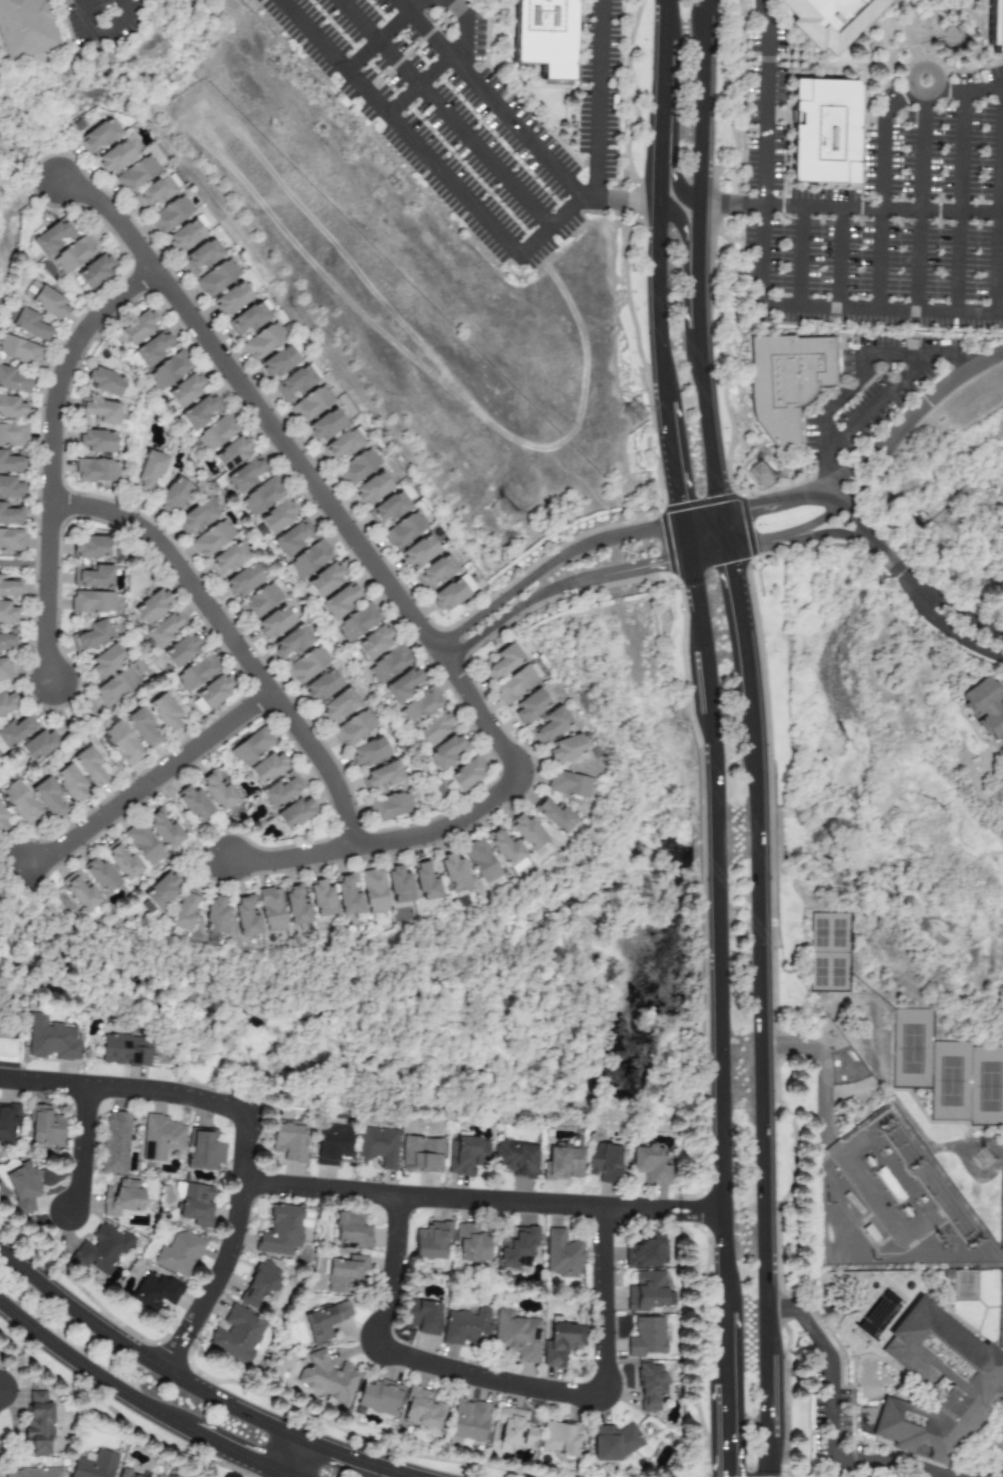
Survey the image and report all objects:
road: (658, 19)
building: (835, 19)
building: (25, 26)
building: (999, 27)
road: (105, 32)
road: (385, 35)
building: (541, 35)
road: (417, 46)
road: (444, 62)
road: (916, 62)
road: (656, 82)
road: (518, 87)
road: (971, 88)
road: (559, 89)
road: (490, 99)
road: (599, 99)
road: (520, 100)
road: (447, 113)
building: (829, 130)
building: (99, 135)
road: (879, 145)
road: (960, 150)
building: (115, 157)
road: (429, 160)
road: (676, 169)
building: (136, 174)
building: (154, 192)
road: (996, 199)
road: (615, 201)
road: (917, 205)
road: (823, 208)
road: (948, 211)
road: (980, 211)
building: (170, 214)
road: (113, 228)
building: (187, 233)
building: (52, 237)
road: (679, 239)
building: (74, 255)
building: (201, 257)
road: (799, 257)
road: (699, 258)
road: (841, 258)
road: (884, 259)
road: (954, 260)
road: (654, 264)
building: (94, 272)
road: (757, 275)
building: (217, 278)
building: (31, 290)
building: (231, 299)
building: (49, 303)
building: (250, 318)
building: (30, 325)
building: (138, 328)
building: (263, 341)
building: (152, 348)
building: (19, 351)
building: (278, 362)
building: (169, 370)
road: (70, 371)
road: (858, 378)
building: (13, 381)
building: (104, 381)
building: (296, 382)
building: (793, 387)
building: (185, 390)
building: (310, 404)
road: (877, 404)
building: (12, 408)
building: (101, 411)
building: (201, 411)
power tower: (638, 415)
road: (911, 417)
building: (326, 425)
building: (216, 433)
building: (12, 435)
building: (97, 441)
building: (342, 444)
building: (232, 453)
building: (10, 463)
road: (671, 465)
building: (357, 467)
building: (96, 470)
building: (149, 471)
building: (245, 475)
power tower: (764, 475)
building: (10, 488)
building: (372, 488)
building: (173, 496)
building: (262, 496)
traffic signals: (677, 497)
road: (777, 501)
traffic signals: (757, 507)
building: (387, 509)
building: (11, 515)
power tower: (506, 515)
building: (196, 517)
building: (279, 517)
road: (818, 520)
road: (702, 521)
building: (404, 531)
road: (723, 533)
road: (801, 535)
building: (294, 537)
road: (868, 537)
building: (11, 539)
building: (212, 539)
road: (687, 542)
building: (90, 547)
building: (419, 551)
road: (708, 554)
building: (227, 559)
building: (309, 560)
road: (23, 562)
traffic signals: (730, 563)
traffic signals: (651, 565)
building: (435, 573)
building: (92, 576)
building: (244, 580)
building: (326, 580)
building: (9, 588)
road: (45, 593)
building: (451, 593)
road: (389, 594)
building: (340, 601)
building: (91, 602)
building: (259, 602)
building: (151, 606)
road: (948, 607)
building: (7, 613)
building: (357, 622)
building: (274, 623)
road: (940, 626)
building: (163, 630)
road: (740, 630)
building: (90, 636)
road: (227, 638)
building: (7, 639)
building: (290, 643)
building: (373, 643)
building: (180, 650)
road: (439, 654)
building: (106, 661)
building: (503, 662)
building: (388, 664)
building: (306, 665)
building: (3, 670)
building: (196, 672)
building: (322, 685)
building: (402, 685)
building: (514, 685)
building: (116, 687)
building: (211, 693)
building: (7, 703)
building: (419, 706)
building: (530, 706)
building: (338, 707)
building: (988, 707)
building: (165, 712)
building: (550, 725)
building: (143, 728)
building: (353, 728)
building: (433, 728)
building: (15, 731)
building: (39, 744)
building: (123, 744)
building: (251, 747)
building: (566, 749)
building: (371, 751)
building: (446, 752)
building: (90, 767)
building: (267, 768)
building: (466, 774)
building: (381, 777)
road: (148, 780)
building: (70, 783)
building: (569, 784)
building: (217, 790)
building: (282, 790)
building: (49, 799)
building: (21, 804)
building: (194, 804)
building: (389, 806)
building: (294, 813)
building: (553, 816)
building: (3, 822)
building: (163, 828)
building: (526, 832)
building: (142, 843)
road: (296, 849)
building: (506, 849)
building: (480, 860)
building: (121, 861)
building: (453, 871)
building: (100, 875)
building: (425, 880)
building: (398, 885)
building: (78, 890)
building: (373, 890)
building: (158, 892)
building: (347, 894)
building: (321, 898)
building: (295, 905)
building: (270, 909)
building: (183, 910)
building: (245, 915)
building: (214, 916)
road: (717, 934)
park: (828, 951)
building: (51, 1039)
park: (910, 1048)
building: (124, 1050)
park: (949, 1079)
road: (43, 1082)
park: (986, 1085)
road: (850, 1091)
road: (170, 1093)
road: (759, 1093)
building: (7, 1122)
power tower: (888, 1125)
building: (45, 1127)
building: (160, 1137)
building: (288, 1140)
road: (829, 1140)
building: (113, 1142)
building: (332, 1143)
building: (377, 1146)
road: (81, 1149)
building: (203, 1150)
building: (421, 1155)
building: (464, 1155)
building: (515, 1158)
power tower: (984, 1160)
building: (602, 1161)
building: (561, 1164)
building: (649, 1165)
power tower: (920, 1165)
building: (6, 1186)
building: (22, 1187)
building: (121, 1197)
road: (480, 1201)
building: (194, 1203)
power substation: (894, 1206)
park: (999, 1207)
building: (281, 1230)
building: (351, 1230)
building: (431, 1240)
power tower: (941, 1240)
power tower: (976, 1243)
building: (470, 1244)
building: (516, 1248)
building: (100, 1250)
road: (228, 1250)
building: (646, 1252)
building: (178, 1253)
building: (562, 1254)
building: (343, 1272)
building: (259, 1283)
building: (648, 1290)
building: (155, 1291)
park: (1000, 1307)
building: (421, 1316)
building: (323, 1320)
building: (467, 1327)
building: (237, 1334)
building: (516, 1335)
building: (646, 1337)
building: (561, 1342)
road: (725, 1348)
road: (142, 1357)
road: (89, 1371)
building: (976, 1376)
building: (326, 1377)
road: (504, 1383)
building: (650, 1386)
building: (378, 1397)
building: (421, 1409)
building: (468, 1420)
road: (832, 1420)
building: (38, 1423)
building: (514, 1428)
road: (726, 1430)
building: (561, 1437)
building: (614, 1441)
road: (235, 1452)
road: (292, 1457)
road: (349, 1457)
building: (93, 1464)
building: (32, 1473)
traffic signals: (727, 1473)
building: (127, 1474)
road: (405, 1475)
road: (283, 1476)
road: (285, 1476)
road: (971, 1476)

